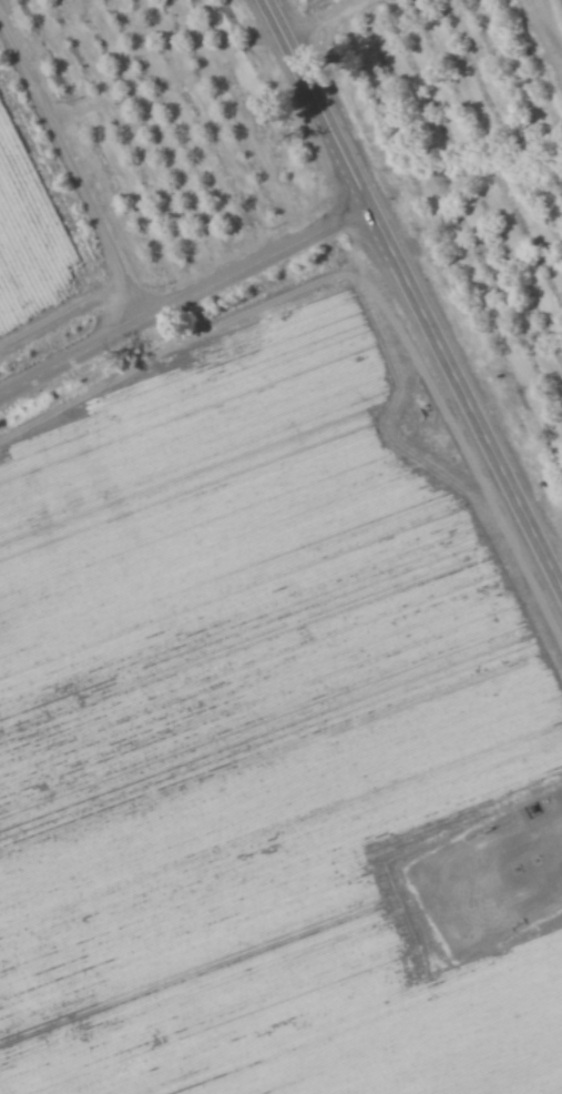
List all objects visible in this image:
road: (163, 70)
road: (84, 188)
road: (185, 294)
road: (416, 294)

